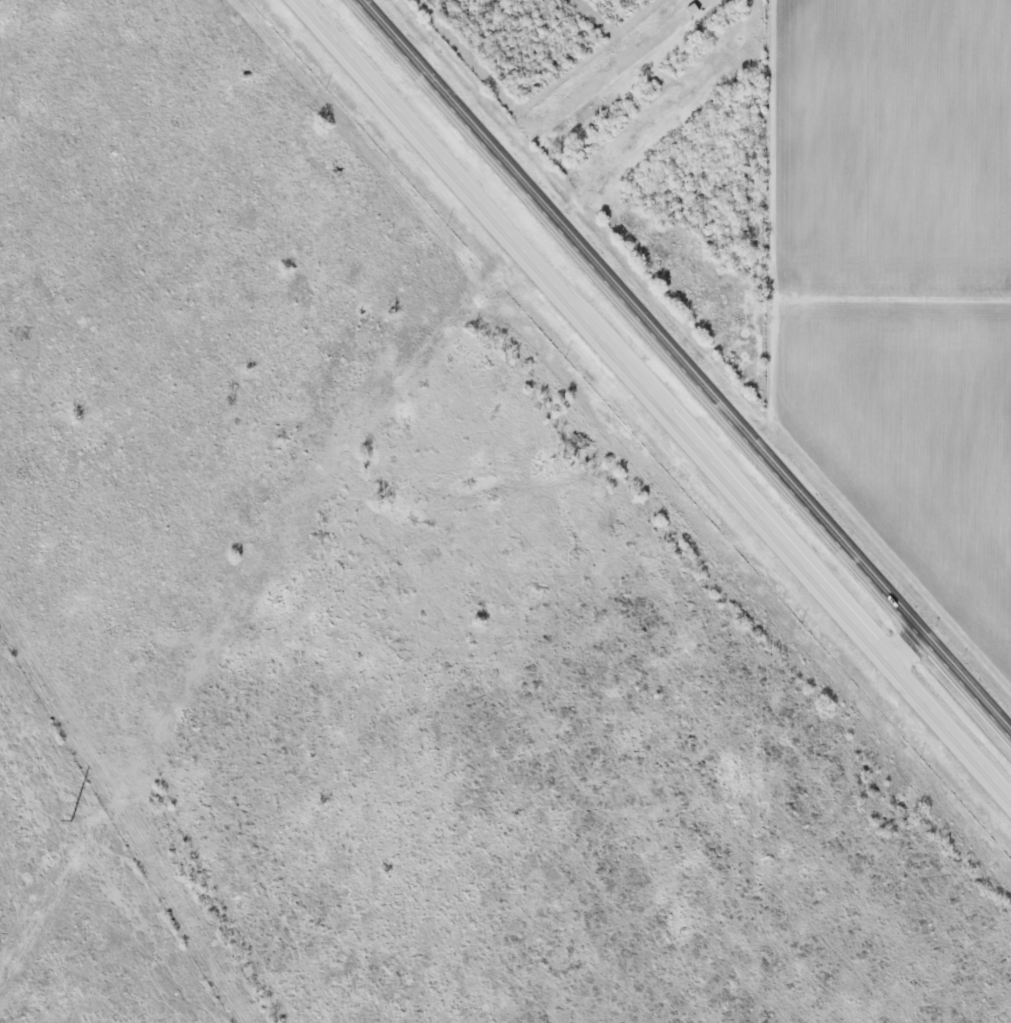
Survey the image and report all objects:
road: (686, 365)
road: (654, 401)
power tower: (71, 821)

